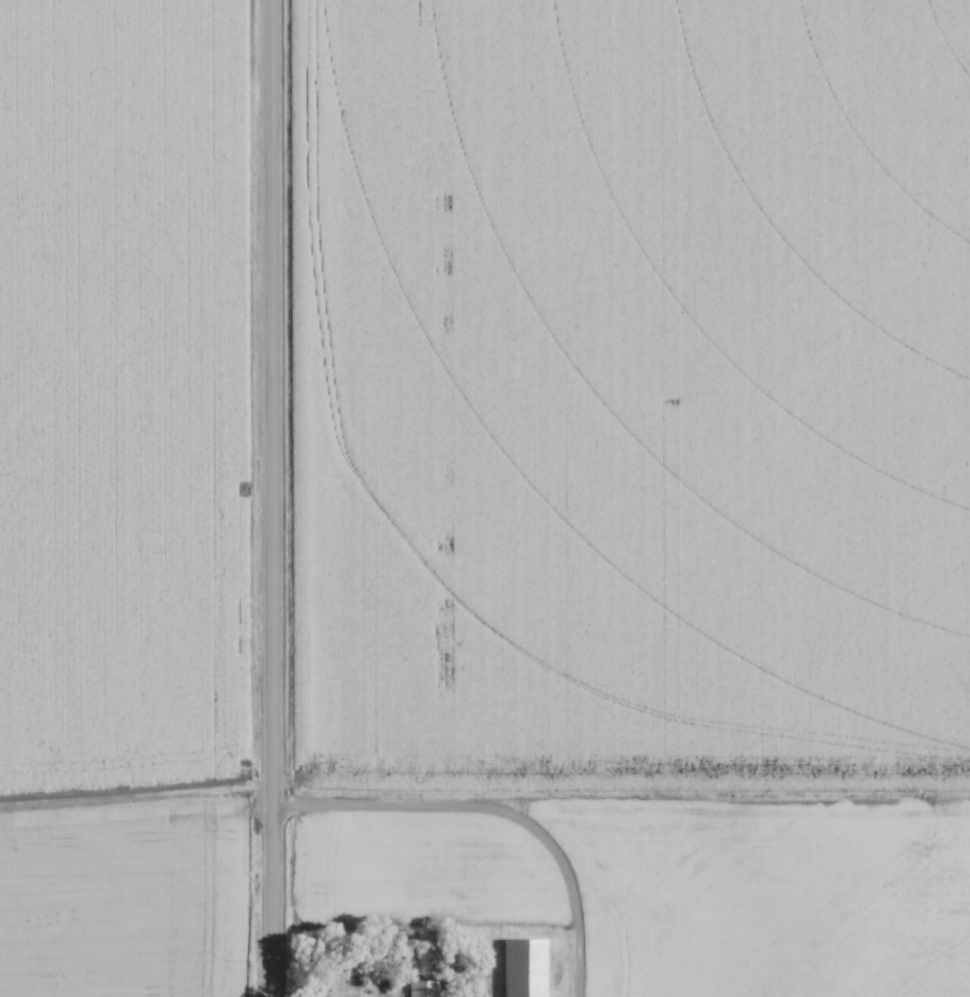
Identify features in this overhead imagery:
crop: (124, 393)
crop: (653, 434)
road: (273, 498)
crop: (125, 897)
building: (522, 968)
building: (419, 989)

